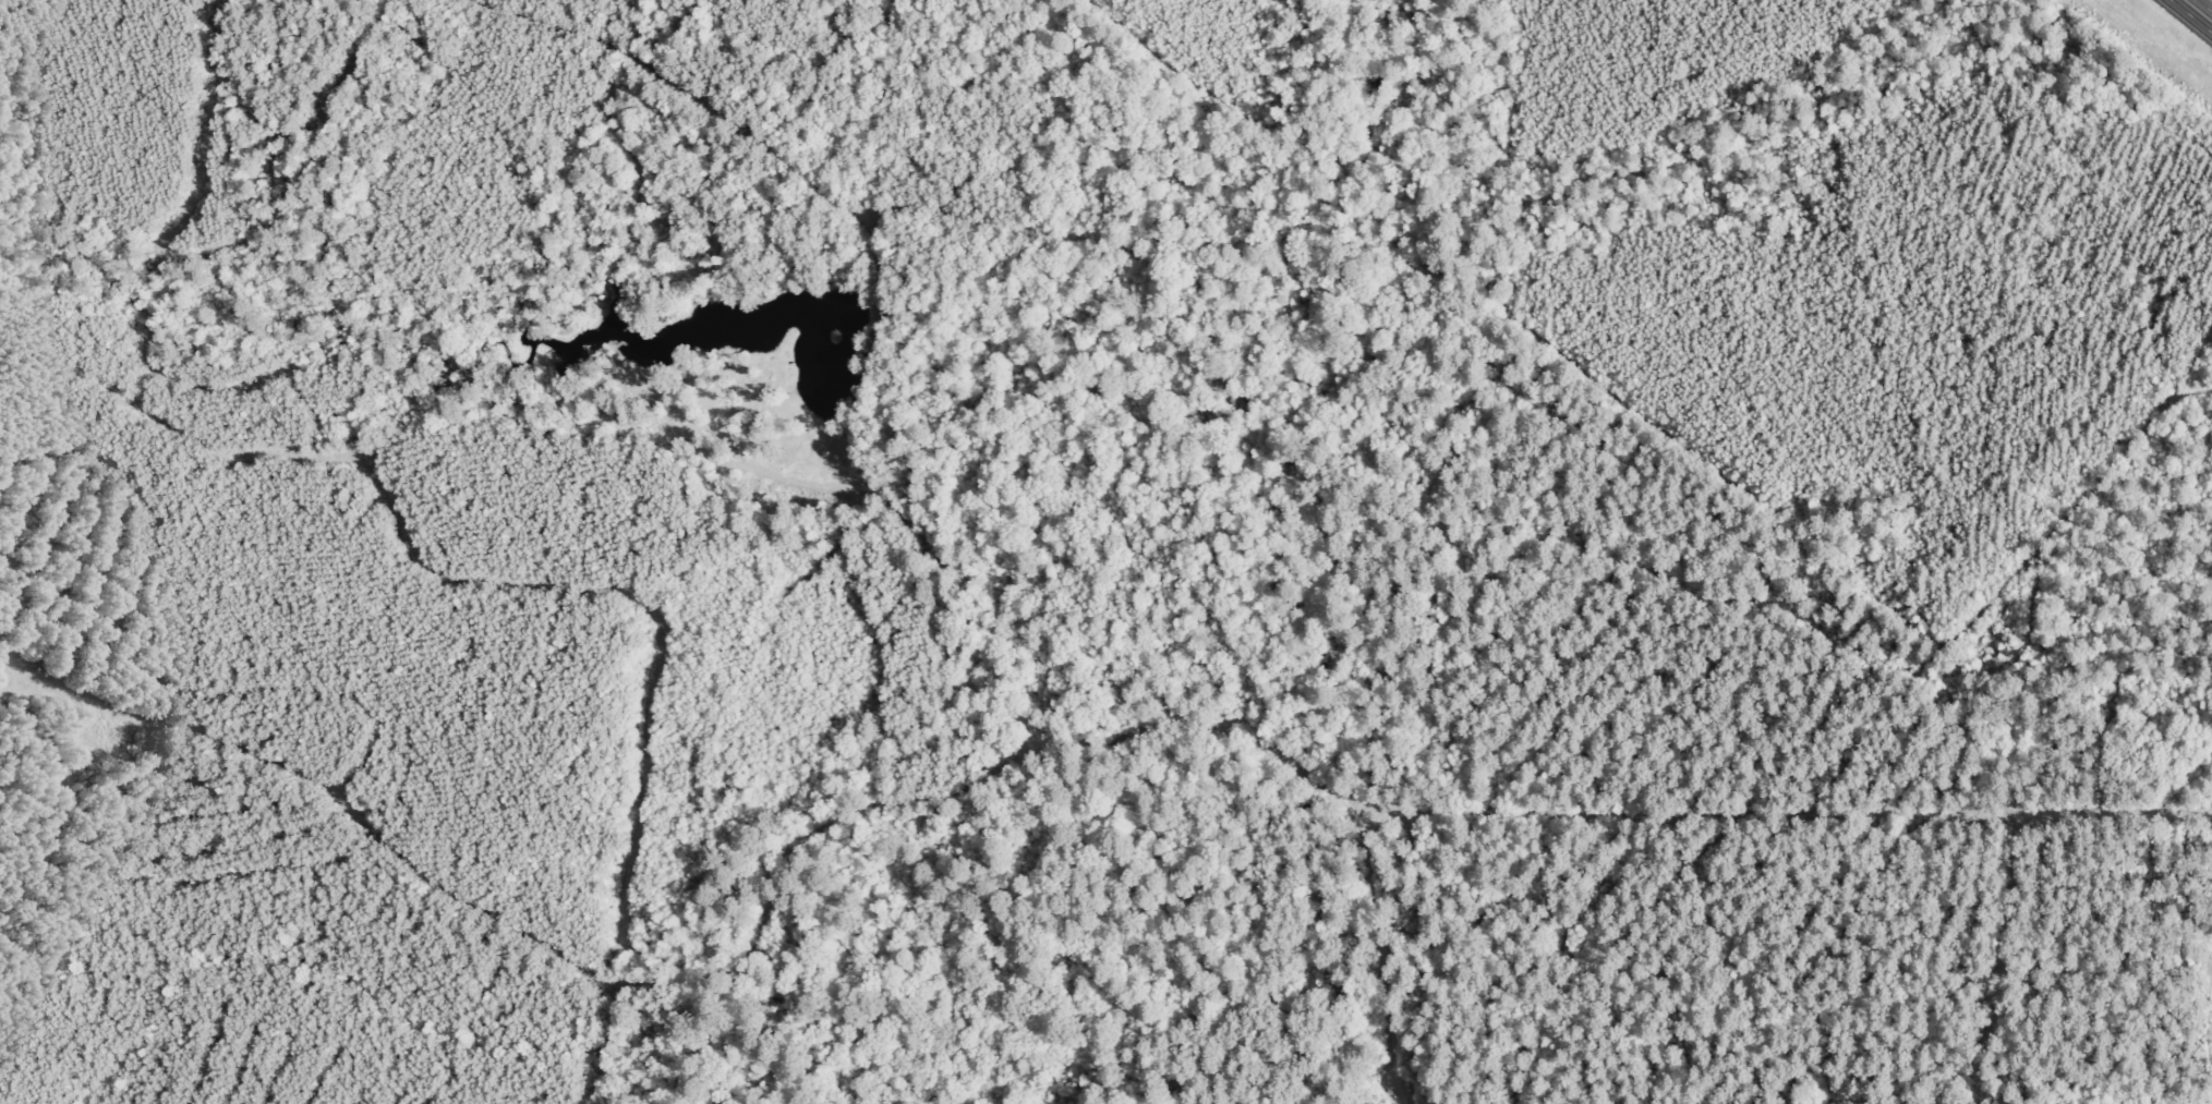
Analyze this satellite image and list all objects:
road: (2197, 11)

